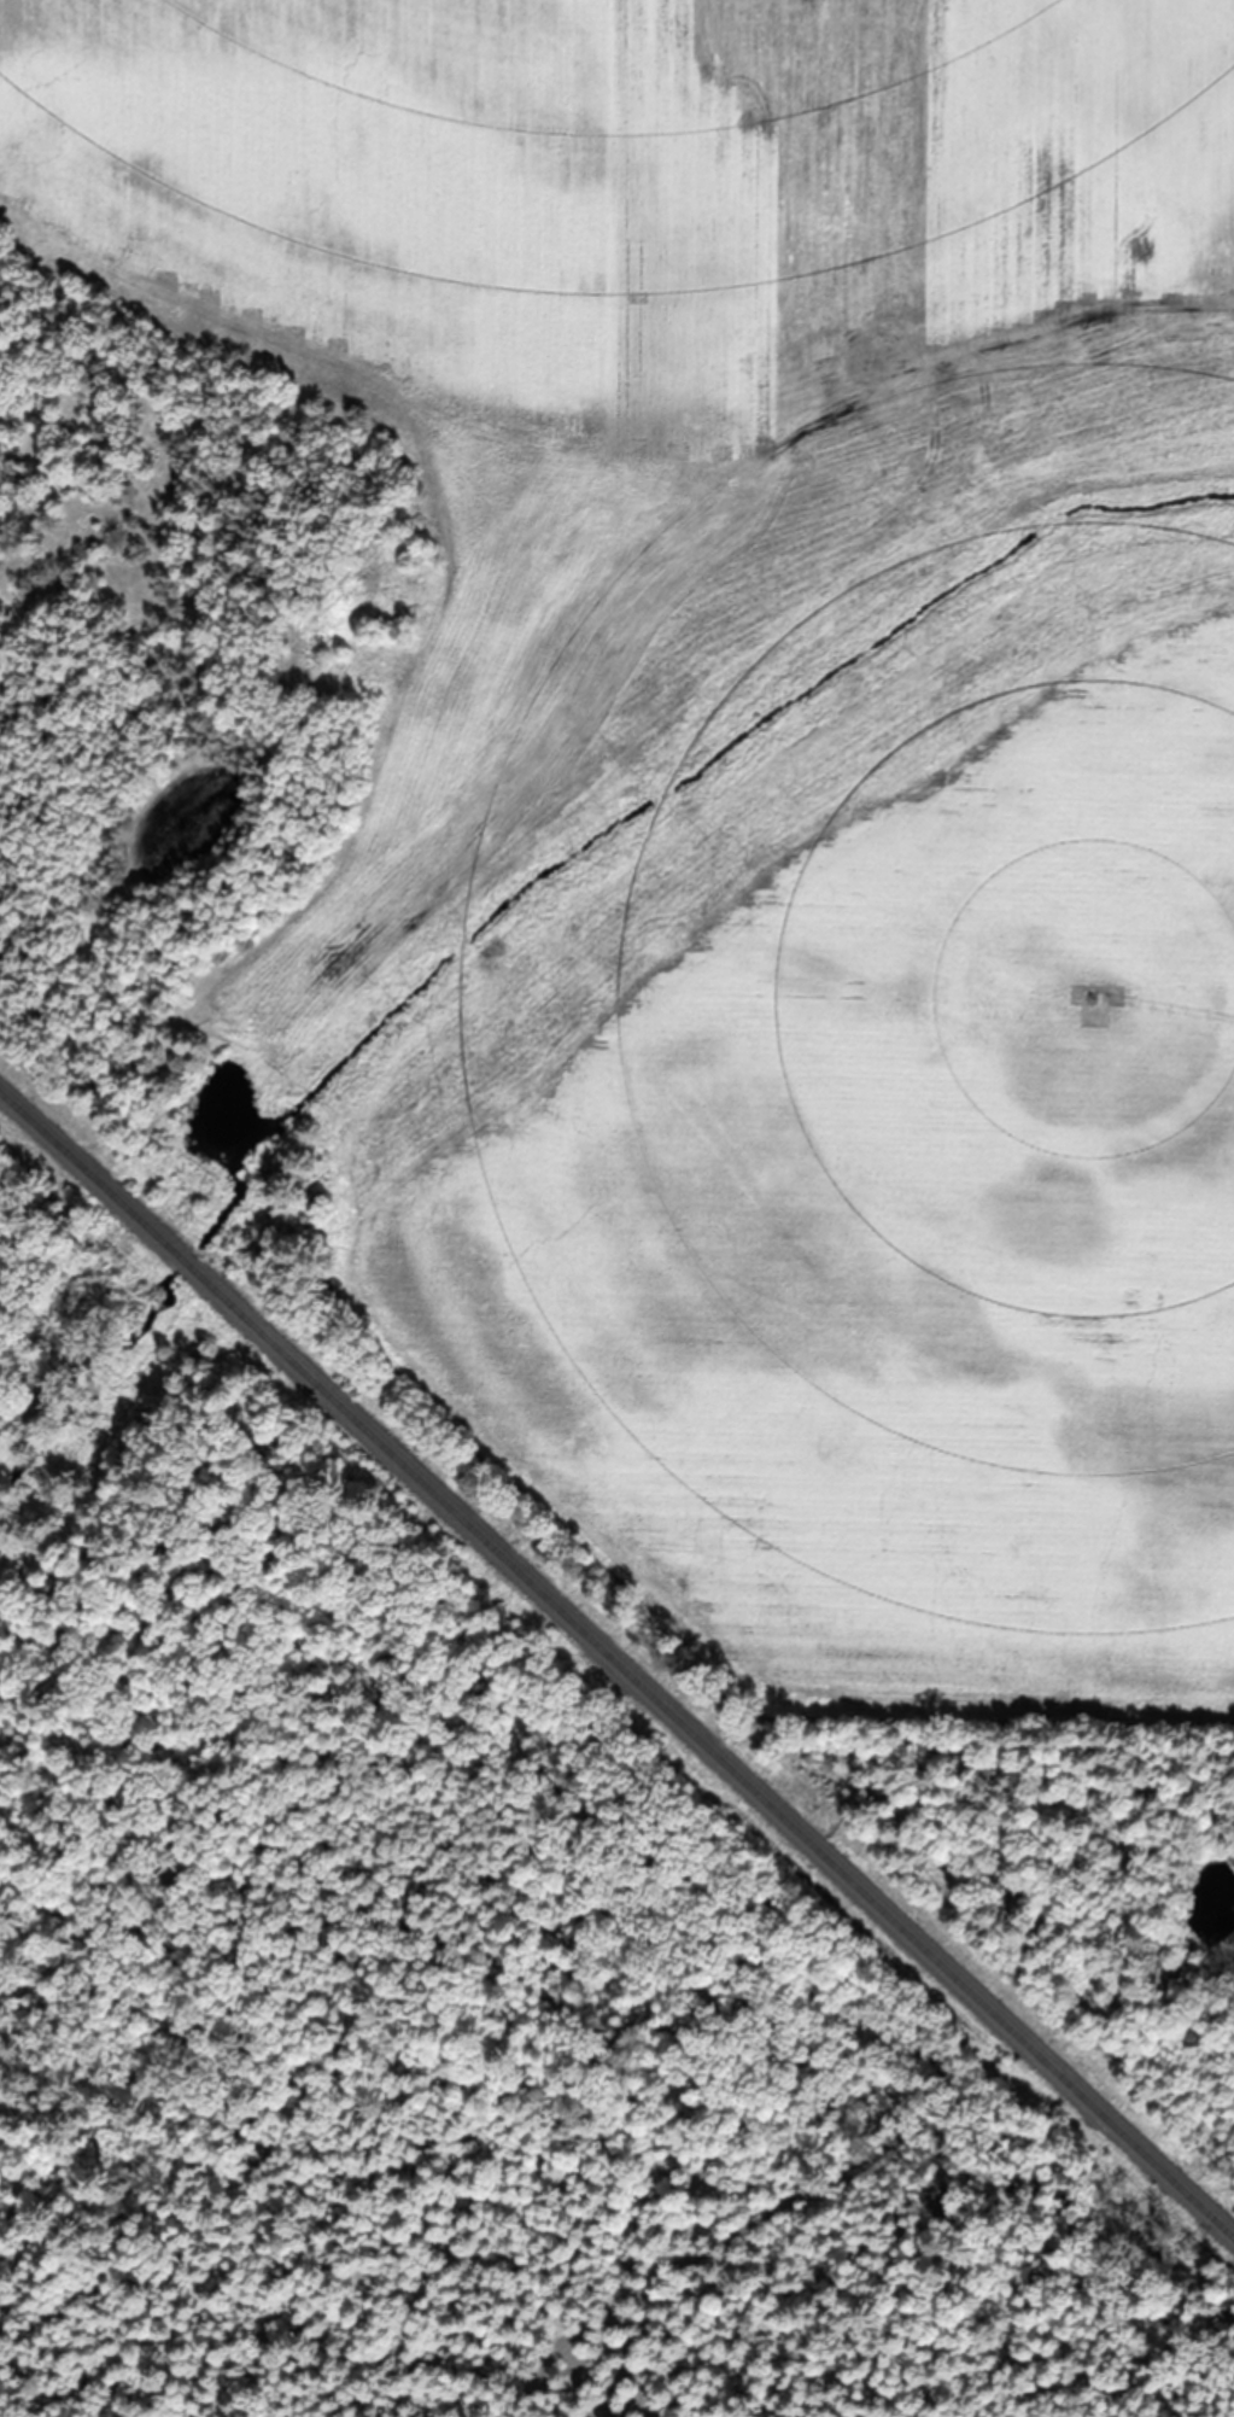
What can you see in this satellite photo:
railway: (616, 1675)

